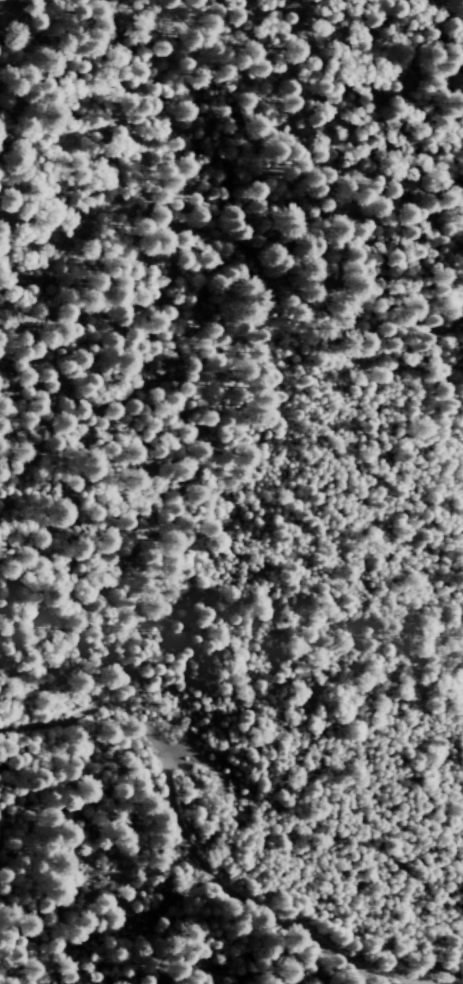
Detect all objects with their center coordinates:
road: (191, 879)

